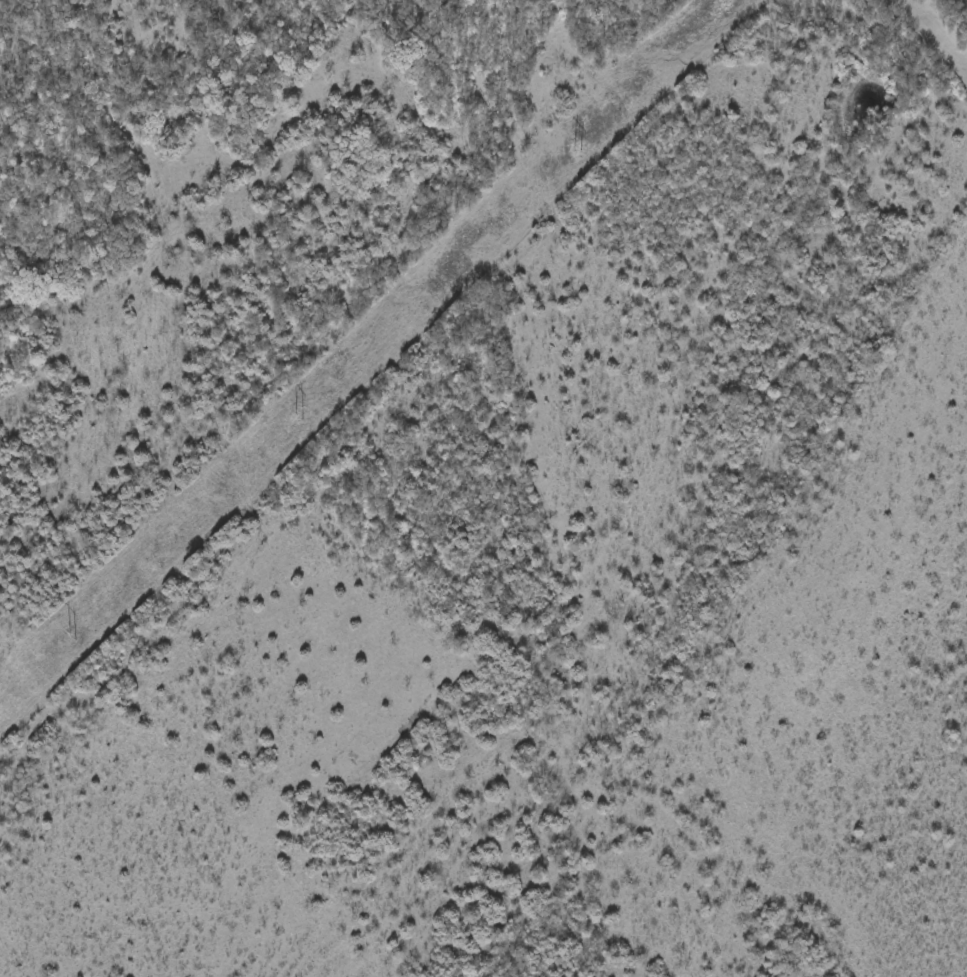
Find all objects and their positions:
power tower: (581, 151)
power tower: (301, 420)
power tower: (77, 635)

